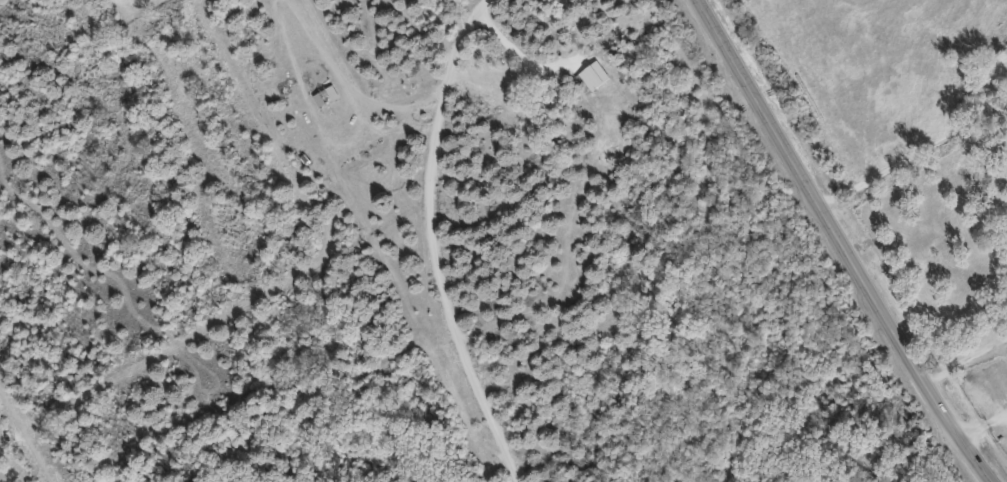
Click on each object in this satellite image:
road: (510, 44)
road: (431, 96)
road: (914, 156)
road: (843, 242)
road: (966, 356)
road: (983, 425)

